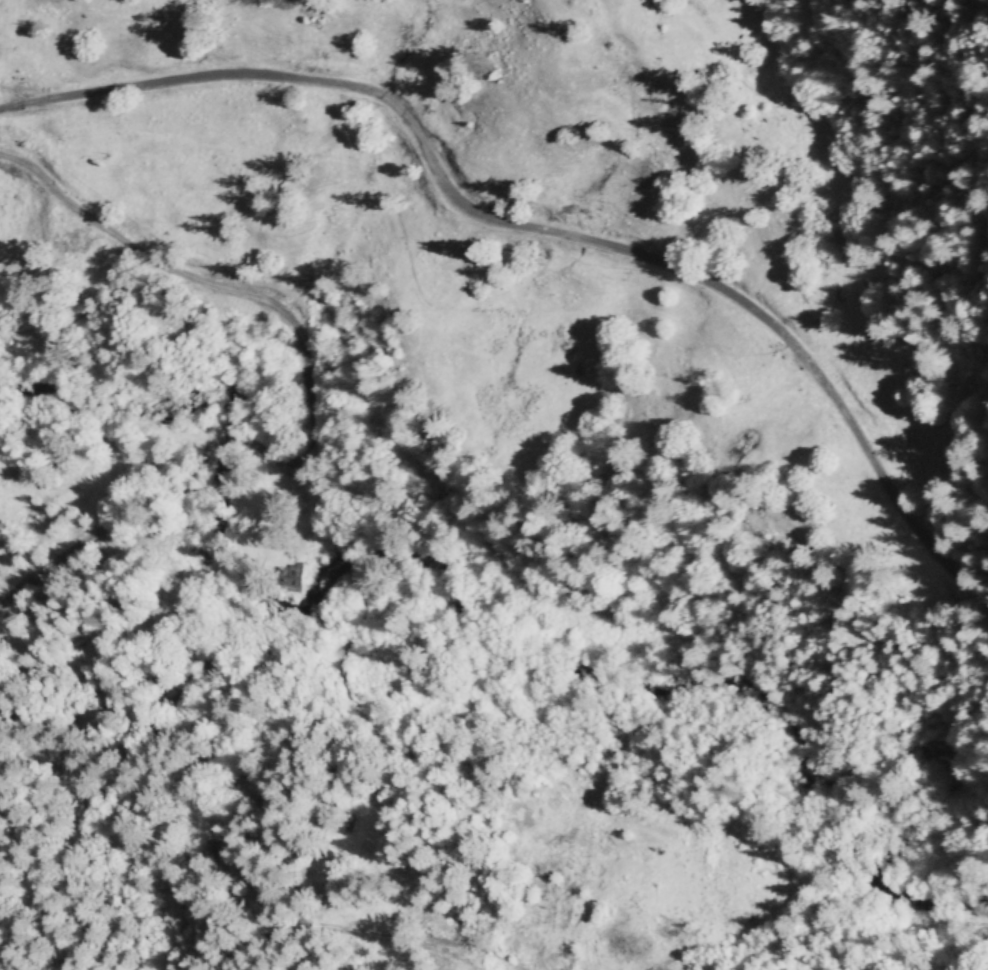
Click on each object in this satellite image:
road: (540, 234)
road: (570, 601)
road: (65, 891)
road: (402, 940)
road: (555, 961)

